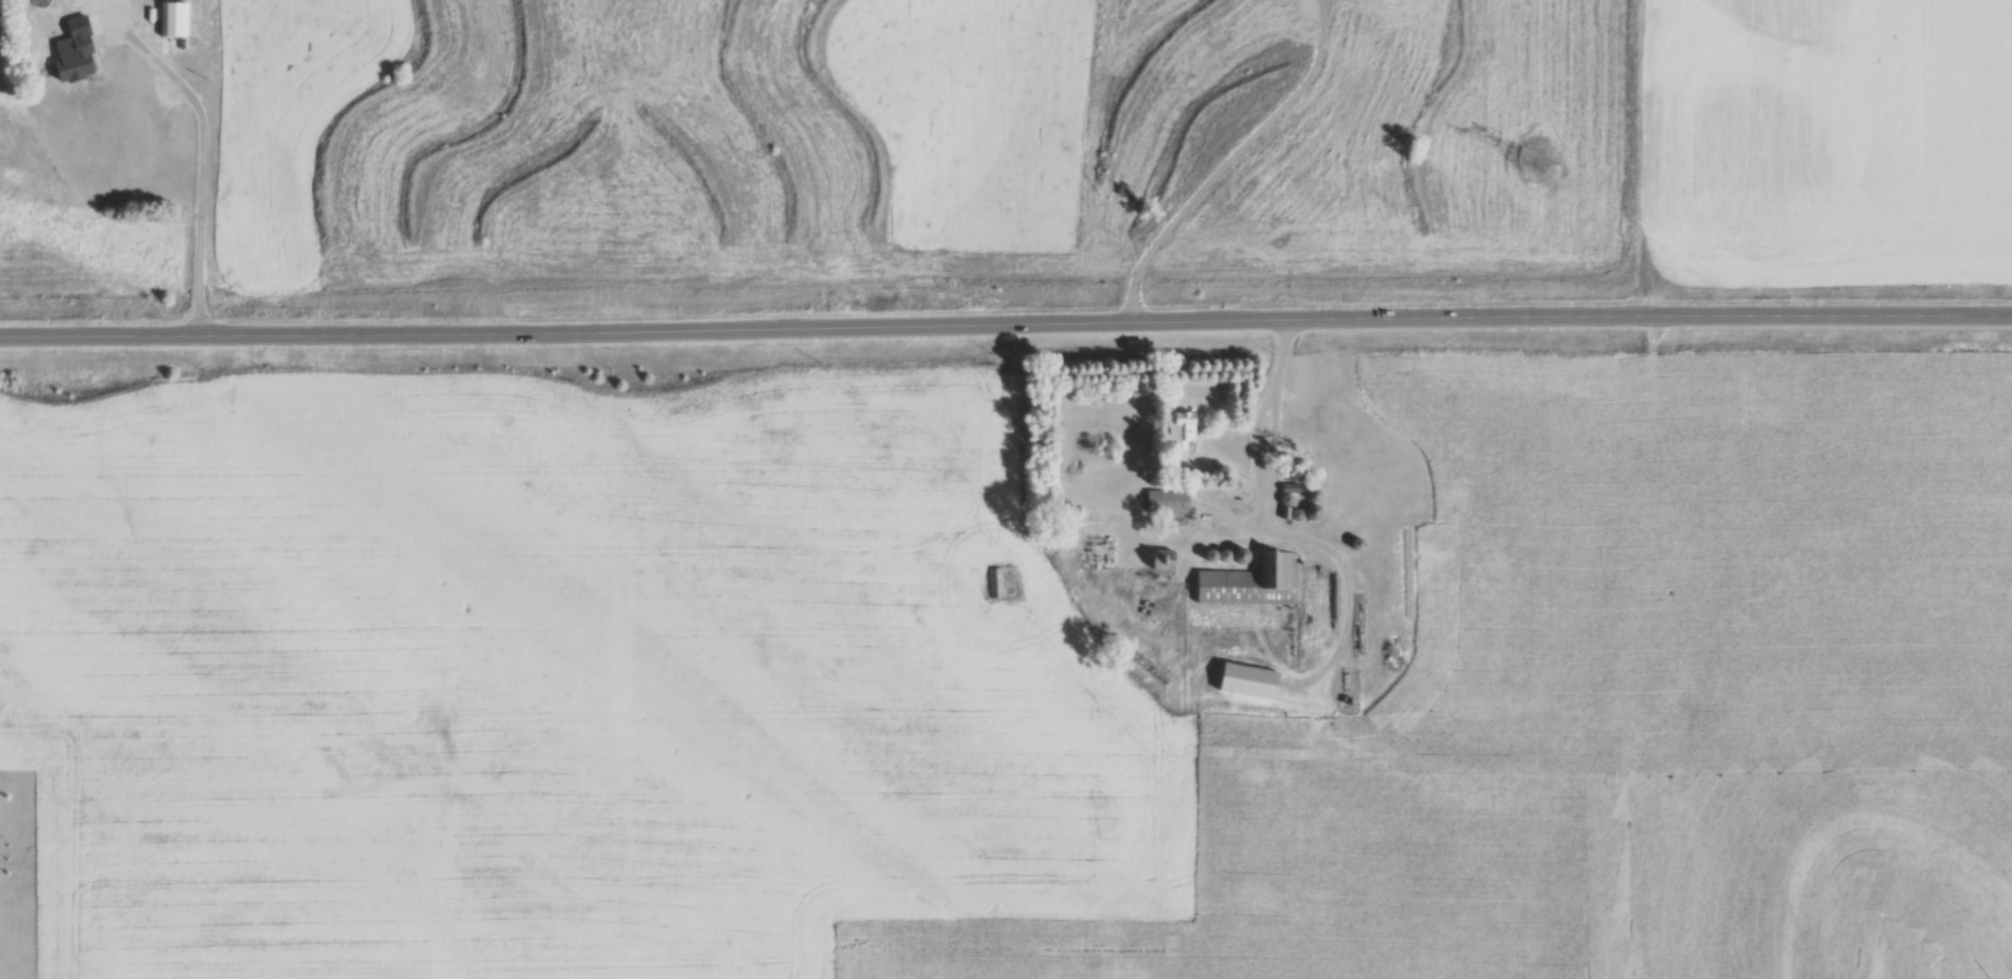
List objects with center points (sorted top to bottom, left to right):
building: (173, 19)
building: (80, 60)
building: (167, 125)
crop: (1113, 145)
road: (199, 161)
power tower: (1532, 164)
crop: (70, 228)
road: (1005, 331)
building: (1184, 429)
road: (1256, 435)
building: (1169, 501)
building: (1167, 560)
building: (995, 582)
building: (1255, 582)

